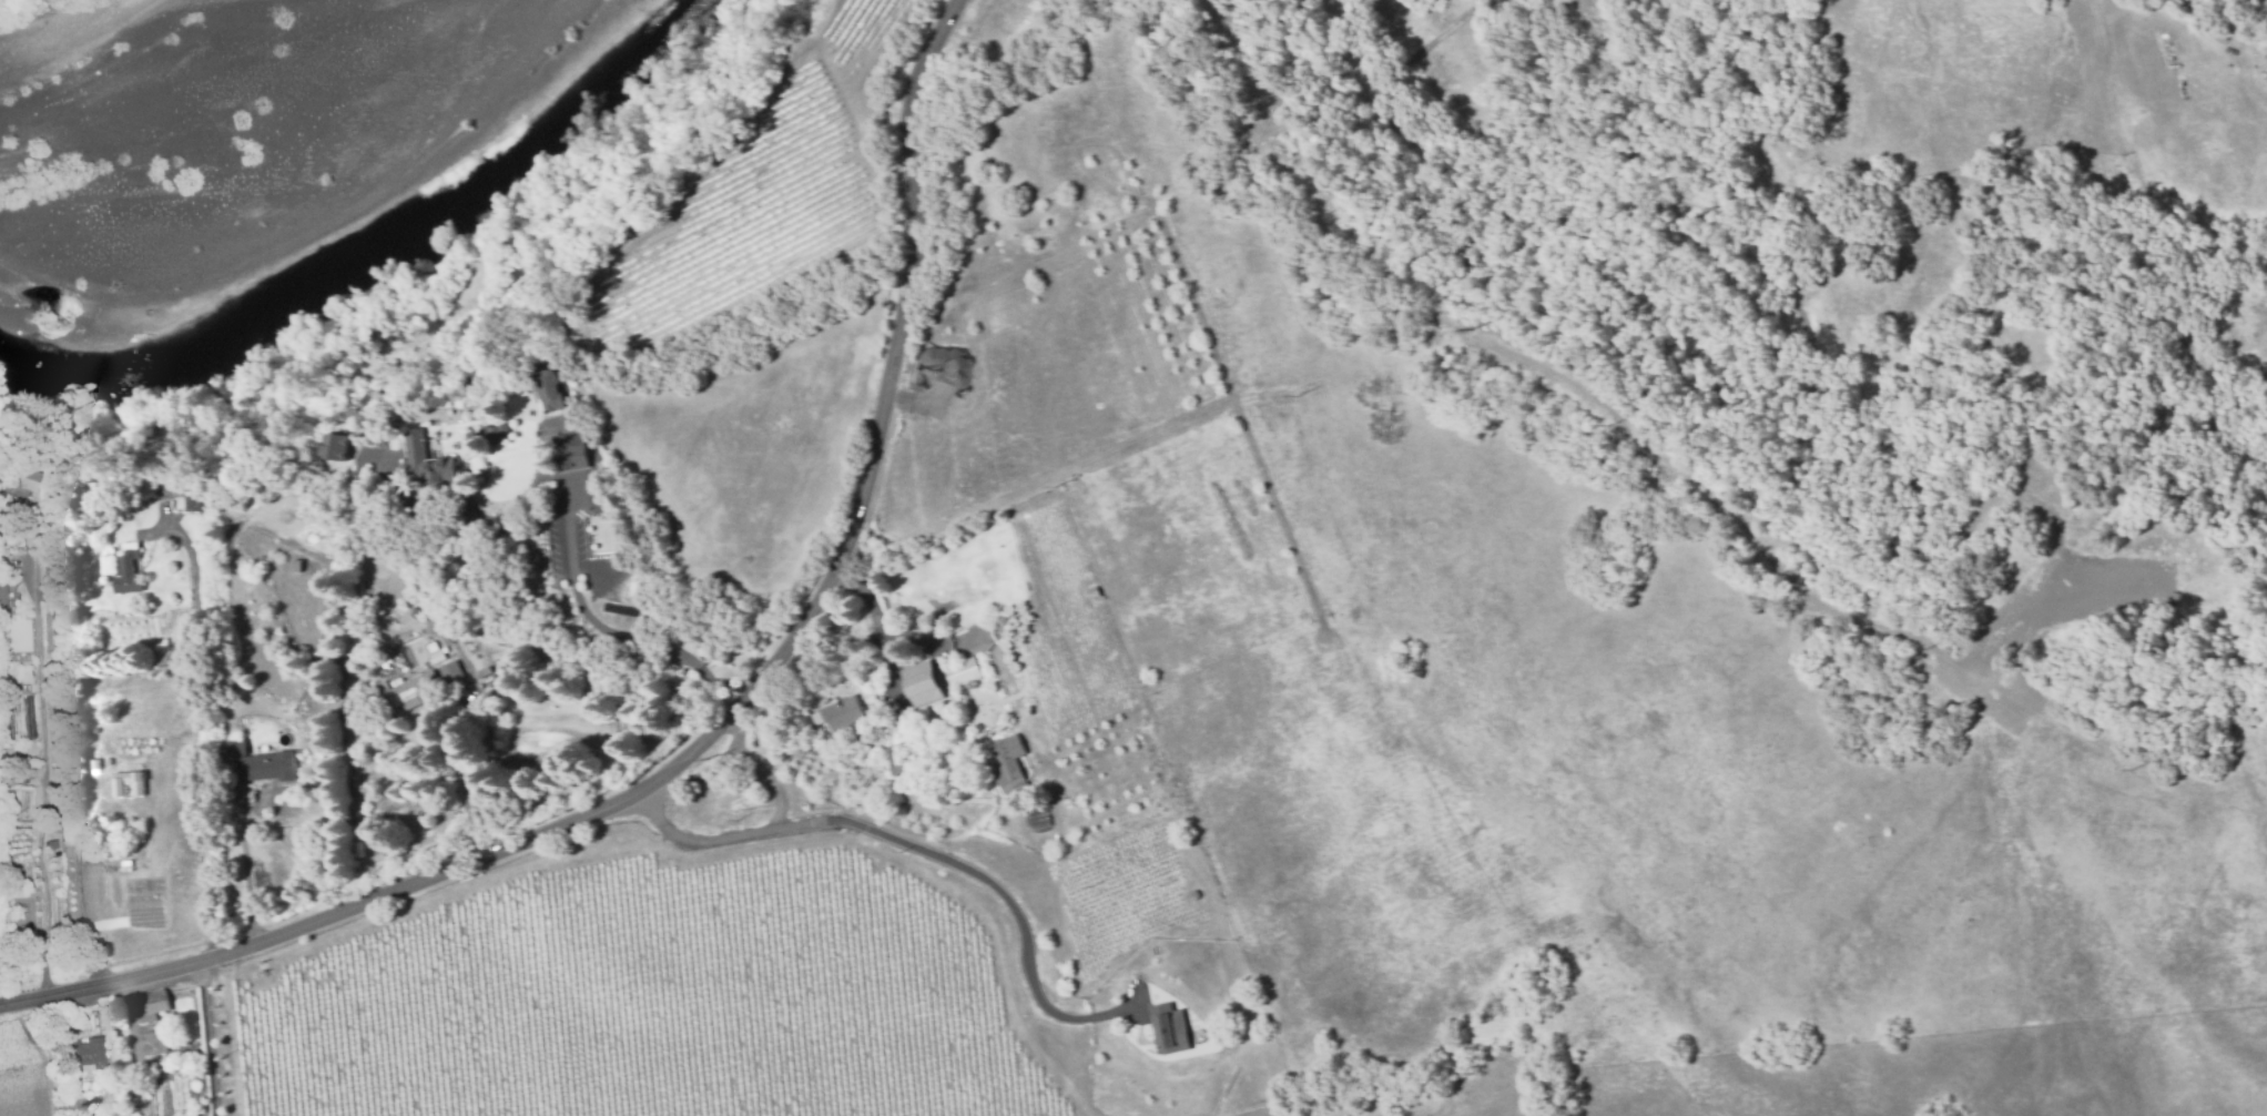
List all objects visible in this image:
river: (378, 258)
building: (548, 392)
building: (490, 436)
building: (336, 447)
building: (594, 449)
building: (570, 453)
building: (426, 465)
building: (20, 477)
building: (182, 495)
building: (295, 565)
building: (128, 571)
building: (1091, 590)
building: (2, 601)
building: (360, 606)
building: (1002, 622)
road: (604, 630)
building: (431, 648)
building: (161, 656)
building: (421, 657)
building: (450, 672)
building: (962, 673)
building: (921, 681)
building: (414, 692)
building: (363, 694)
building: (102, 708)
building: (843, 713)
road: (720, 723)
road: (207, 726)
building: (235, 750)
building: (868, 752)
building: (109, 761)
building: (95, 763)
building: (1007, 763)
building: (17, 765)
building: (893, 765)
road: (736, 767)
building: (265, 768)
building: (14, 777)
road: (44, 778)
building: (732, 780)
building: (129, 782)
building: (118, 821)
building: (50, 843)
road: (922, 849)
road: (80, 889)
building: (1192, 894)
building: (149, 1006)
building: (1167, 1026)
road: (207, 1041)
building: (153, 1044)
building: (83, 1056)
building: (108, 1079)
building: (193, 1108)

